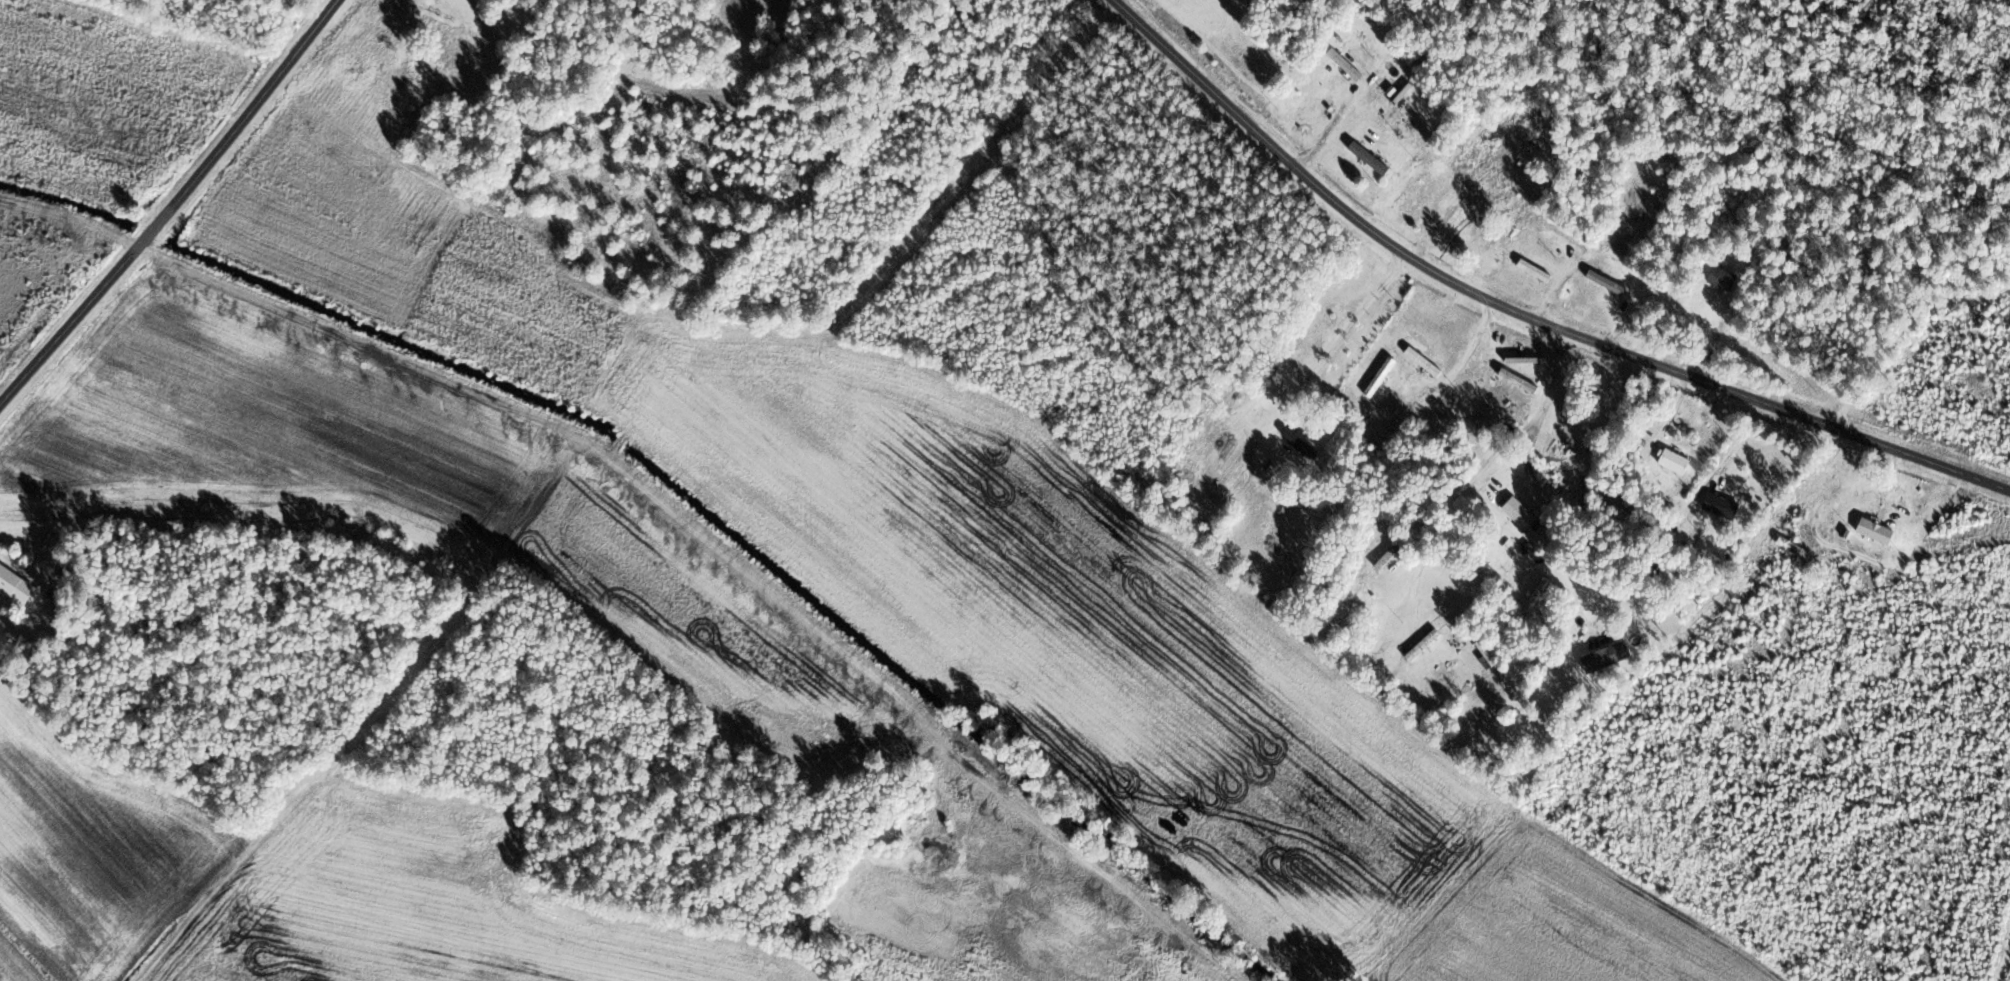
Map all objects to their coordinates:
building: (1344, 64)
road: (174, 204)
building: (1536, 271)
building: (1724, 279)
road: (1520, 318)
building: (1424, 362)
building: (1381, 378)
building: (1520, 382)
building: (1675, 461)
building: (1722, 506)
building: (1521, 514)
building: (1876, 531)
building: (1390, 557)
building: (16, 585)
building: (1538, 595)
building: (1423, 646)
building: (1486, 654)
building: (1609, 655)

